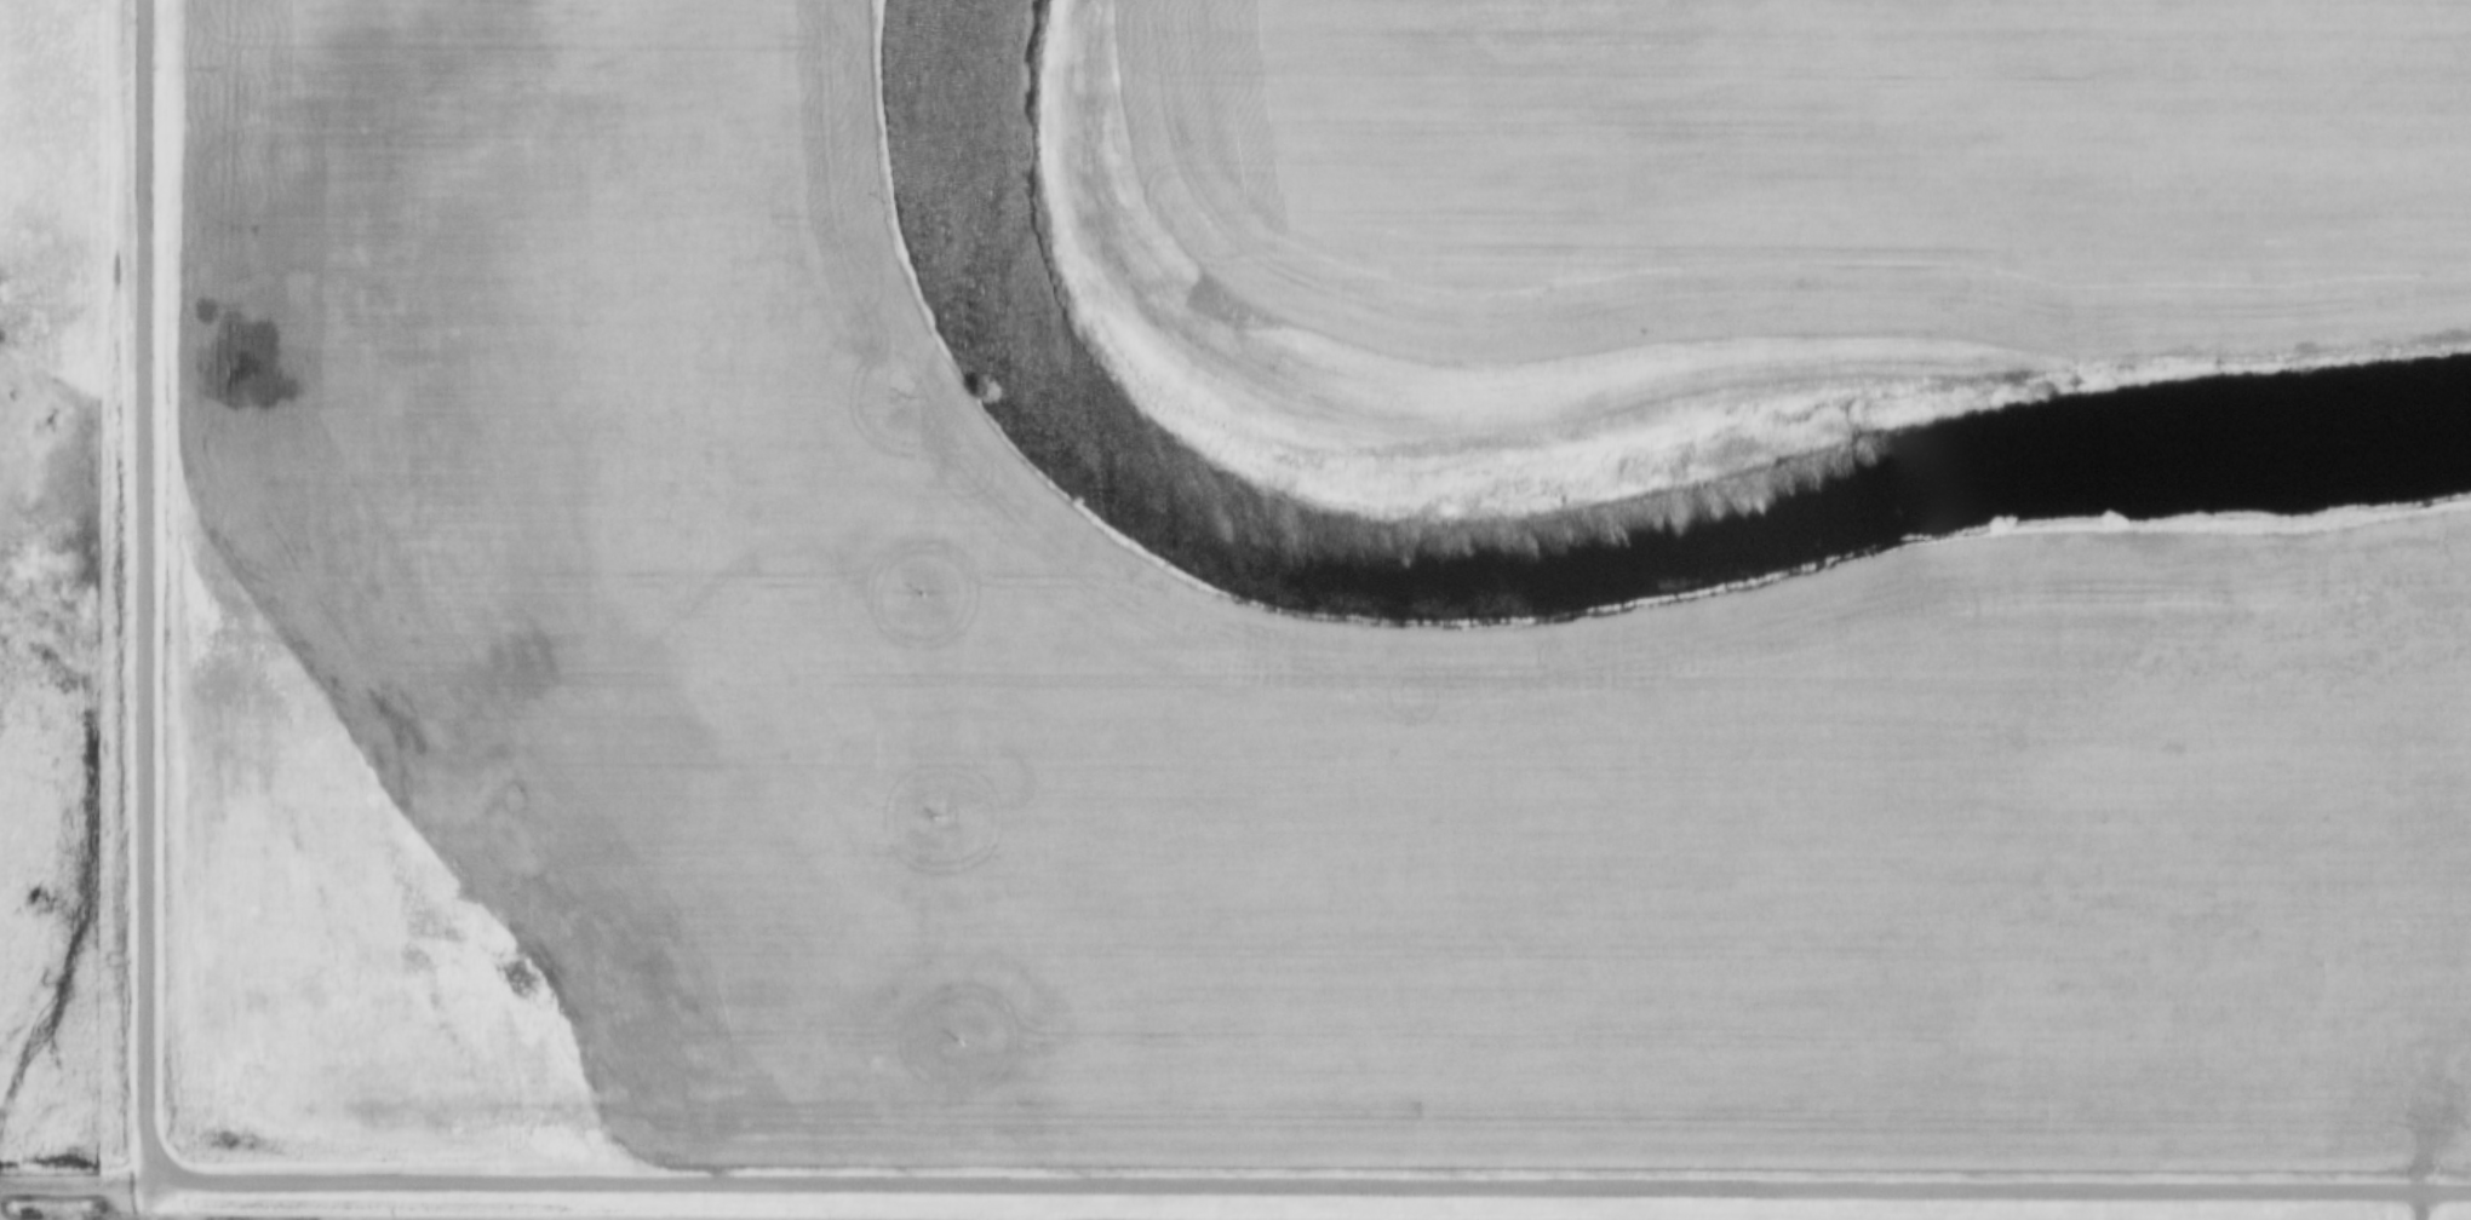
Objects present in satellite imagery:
river: (1536, 559)
road: (144, 592)
road: (73, 1182)
road: (1308, 1187)
road: (147, 1202)
road: (2425, 1207)
road: (2, 1214)

